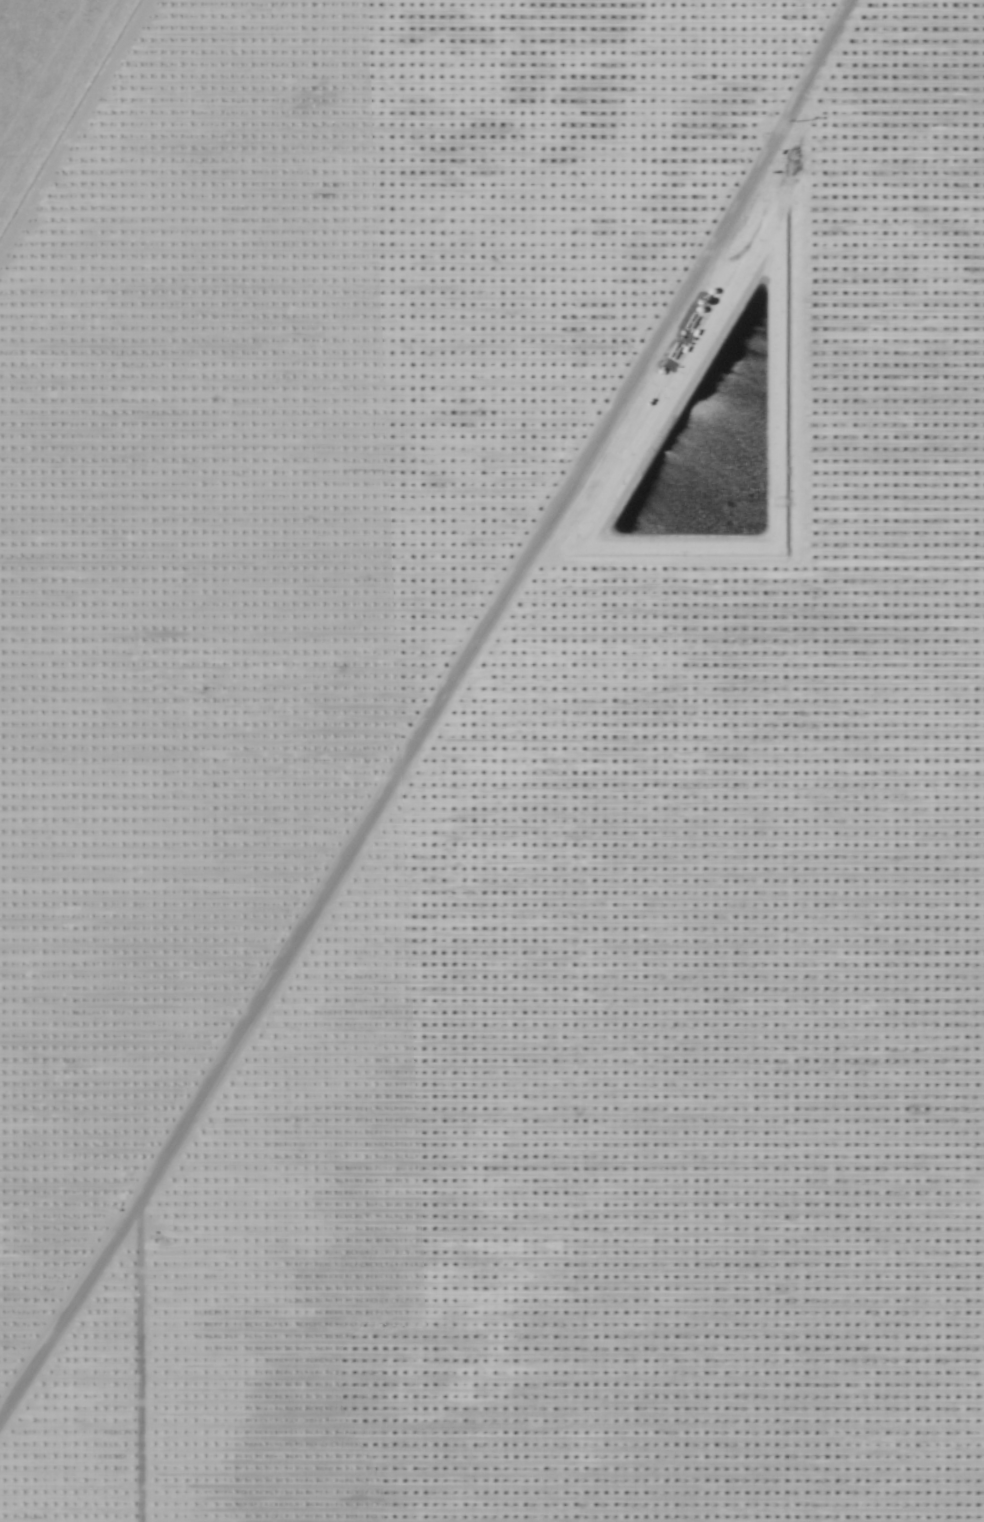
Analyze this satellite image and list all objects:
crop: (42, 72)
crop: (496, 767)

